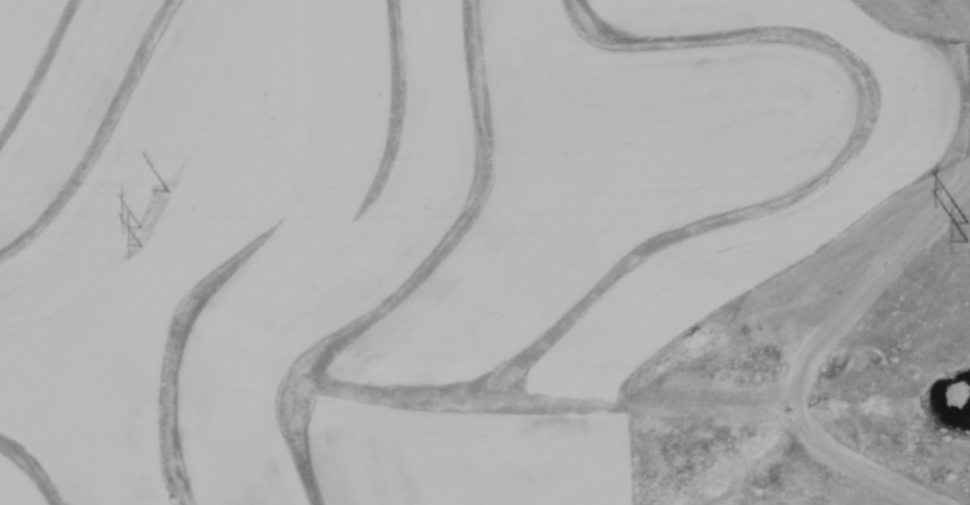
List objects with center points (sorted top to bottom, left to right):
park: (928, 14)
power tower: (645, 186)
power tower: (155, 189)
power tower: (642, 229)
power tower: (148, 232)
road: (810, 348)
park: (827, 369)

